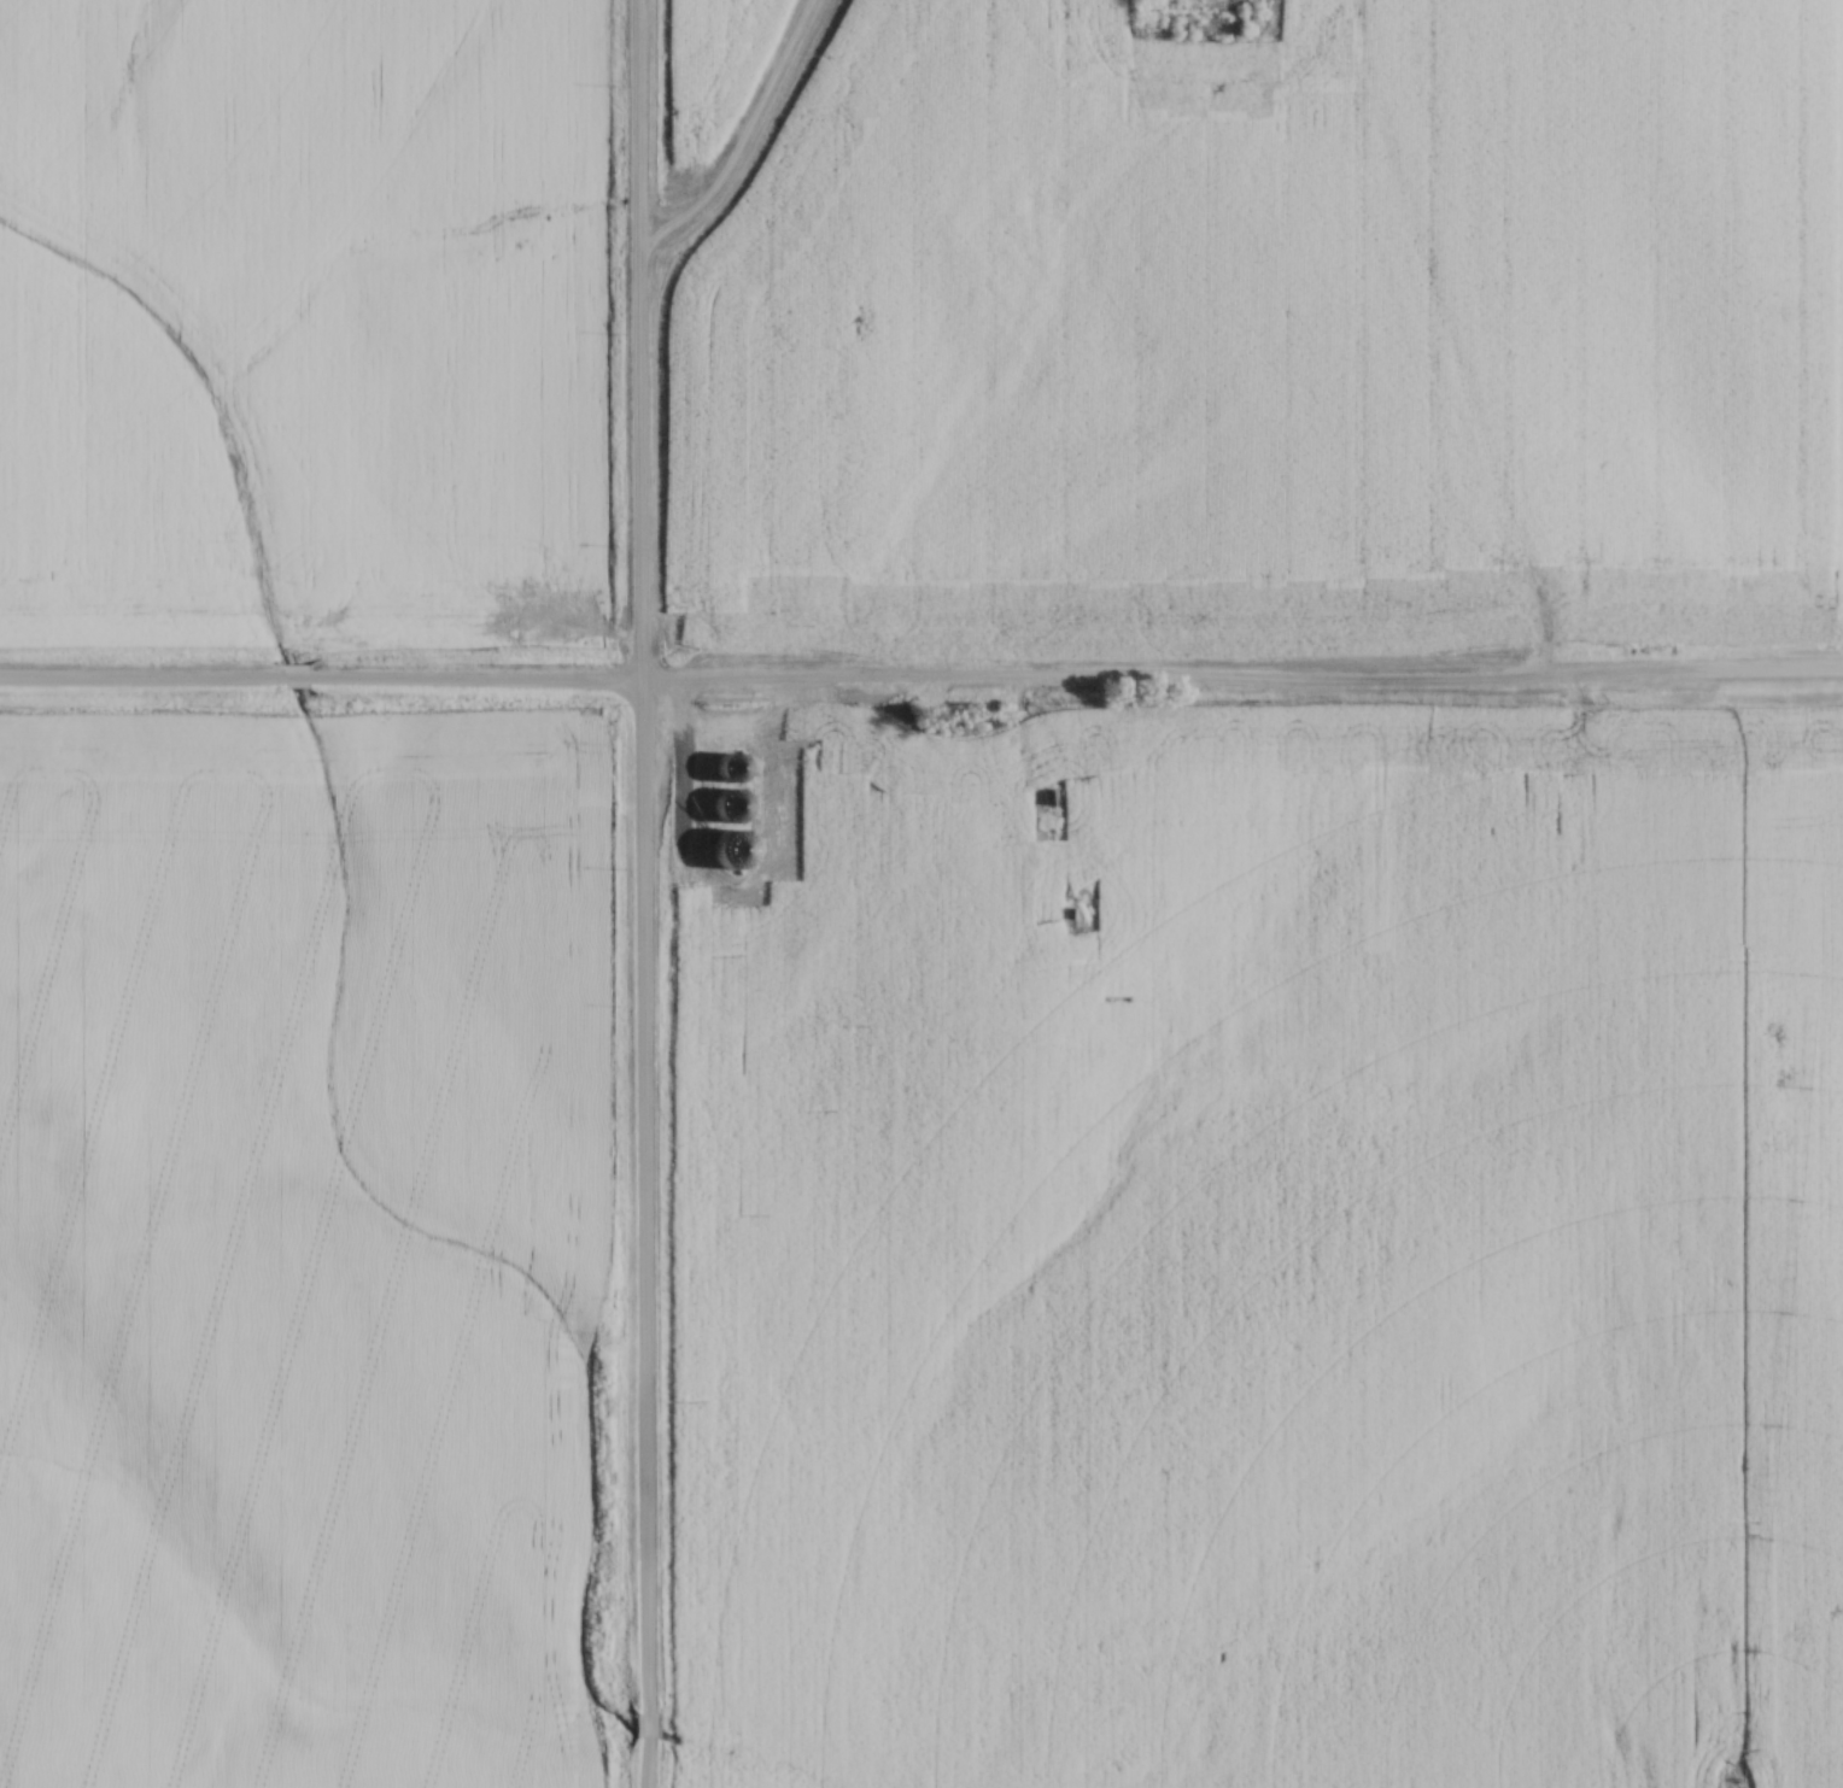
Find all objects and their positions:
building: (1192, 17)
building: (1215, 65)
road: (731, 136)
road: (139, 675)
road: (292, 675)
road: (1073, 685)
building: (726, 769)
road: (640, 855)
building: (1026, 875)
building: (1252, 967)
building: (1180, 1013)
road: (645, 1724)
road: (644, 1763)

